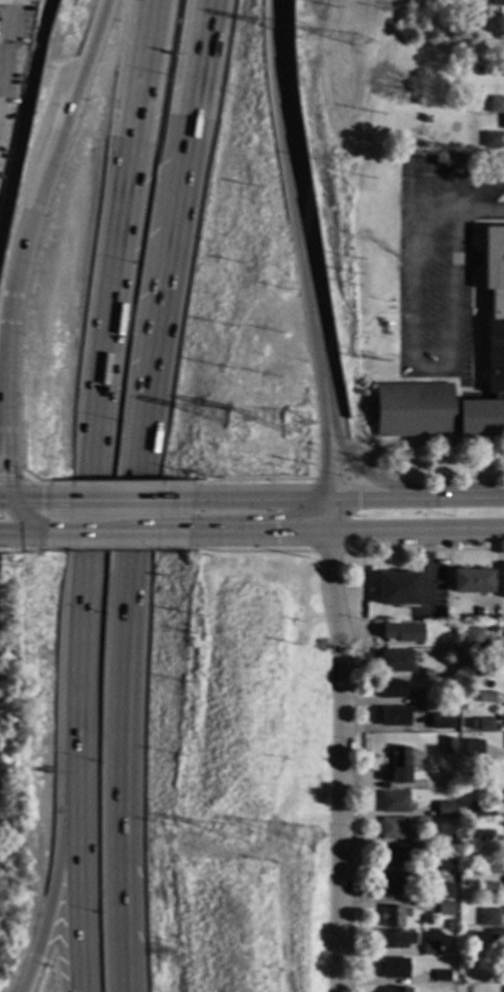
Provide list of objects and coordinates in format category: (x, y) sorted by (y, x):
building: (473, 2)
building: (495, 2)
road: (4, 35)
building: (501, 35)
power tower: (305, 36)
power tower: (358, 49)
building: (497, 68)
building: (477, 70)
building: (496, 105)
building: (503, 122)
road: (41, 132)
building: (491, 140)
road: (56, 144)
building: (459, 161)
road: (292, 206)
road: (480, 213)
road: (418, 338)
building: (495, 351)
road: (6, 361)
road: (101, 396)
power tower: (236, 427)
power tower: (295, 430)
road: (3, 439)
road: (328, 454)
road: (355, 467)
road: (12, 487)
road: (23, 493)
road: (137, 493)
traffic signals: (13, 494)
road: (131, 494)
road: (313, 496)
traffic signals: (330, 497)
road: (457, 497)
road: (357, 531)
traffic signals: (330, 532)
road: (162, 534)
road: (75, 536)
road: (18, 537)
traffic signals: (37, 537)
building: (472, 581)
building: (398, 589)
street lamp: (103, 628)
building: (402, 632)
building: (470, 639)
building: (454, 642)
building: (503, 660)
building: (395, 661)
building: (477, 666)
building: (426, 673)
building: (393, 689)
building: (426, 697)
building: (485, 697)
building: (393, 715)
building: (440, 722)
building: (470, 725)
building: (484, 725)
road: (342, 743)
building: (447, 746)
building: (473, 749)
building: (399, 765)
building: (491, 781)
street lamp: (96, 792)
building: (394, 802)
building: (472, 806)
building: (484, 807)
building: (445, 809)
building: (416, 822)
building: (394, 828)
building: (483, 836)
power tower: (241, 839)
power tower: (310, 843)
building: (395, 857)
building: (445, 861)
building: (489, 862)
building: (467, 864)
building: (397, 884)
building: (487, 890)
building: (445, 891)
road: (52, 894)
road: (79, 894)
building: (446, 908)
building: (392, 917)
building: (488, 917)
building: (496, 937)
building: (389, 940)
building: (430, 947)
street lamp: (98, 957)
building: (394, 969)
building: (442, 976)
building: (397, 990)
building: (420, 990)
building: (451, 990)

